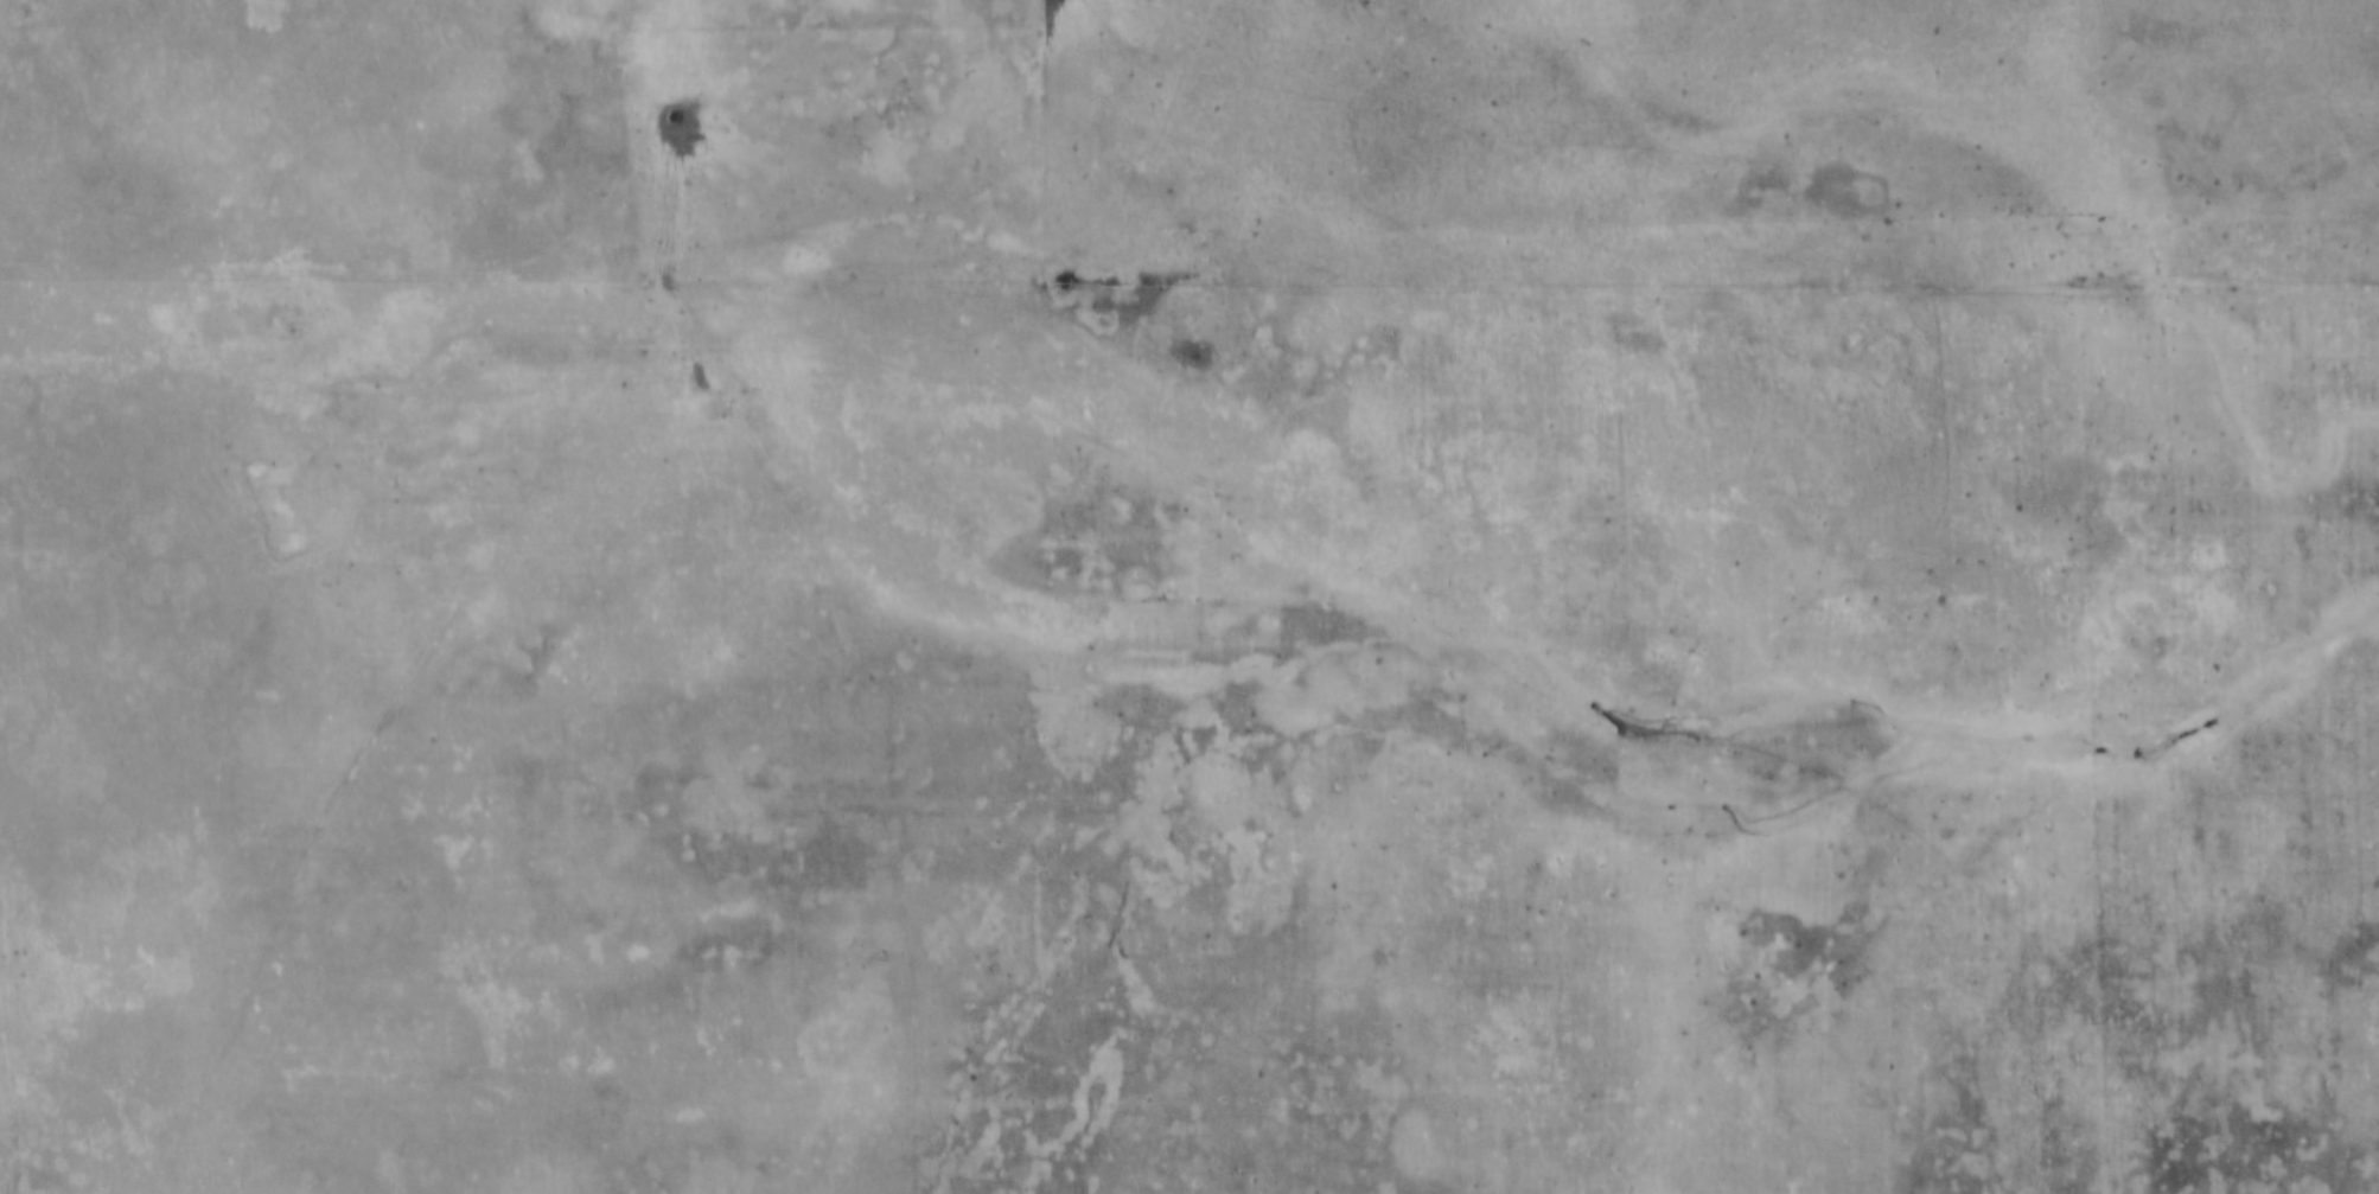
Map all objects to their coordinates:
road: (423, 269)

